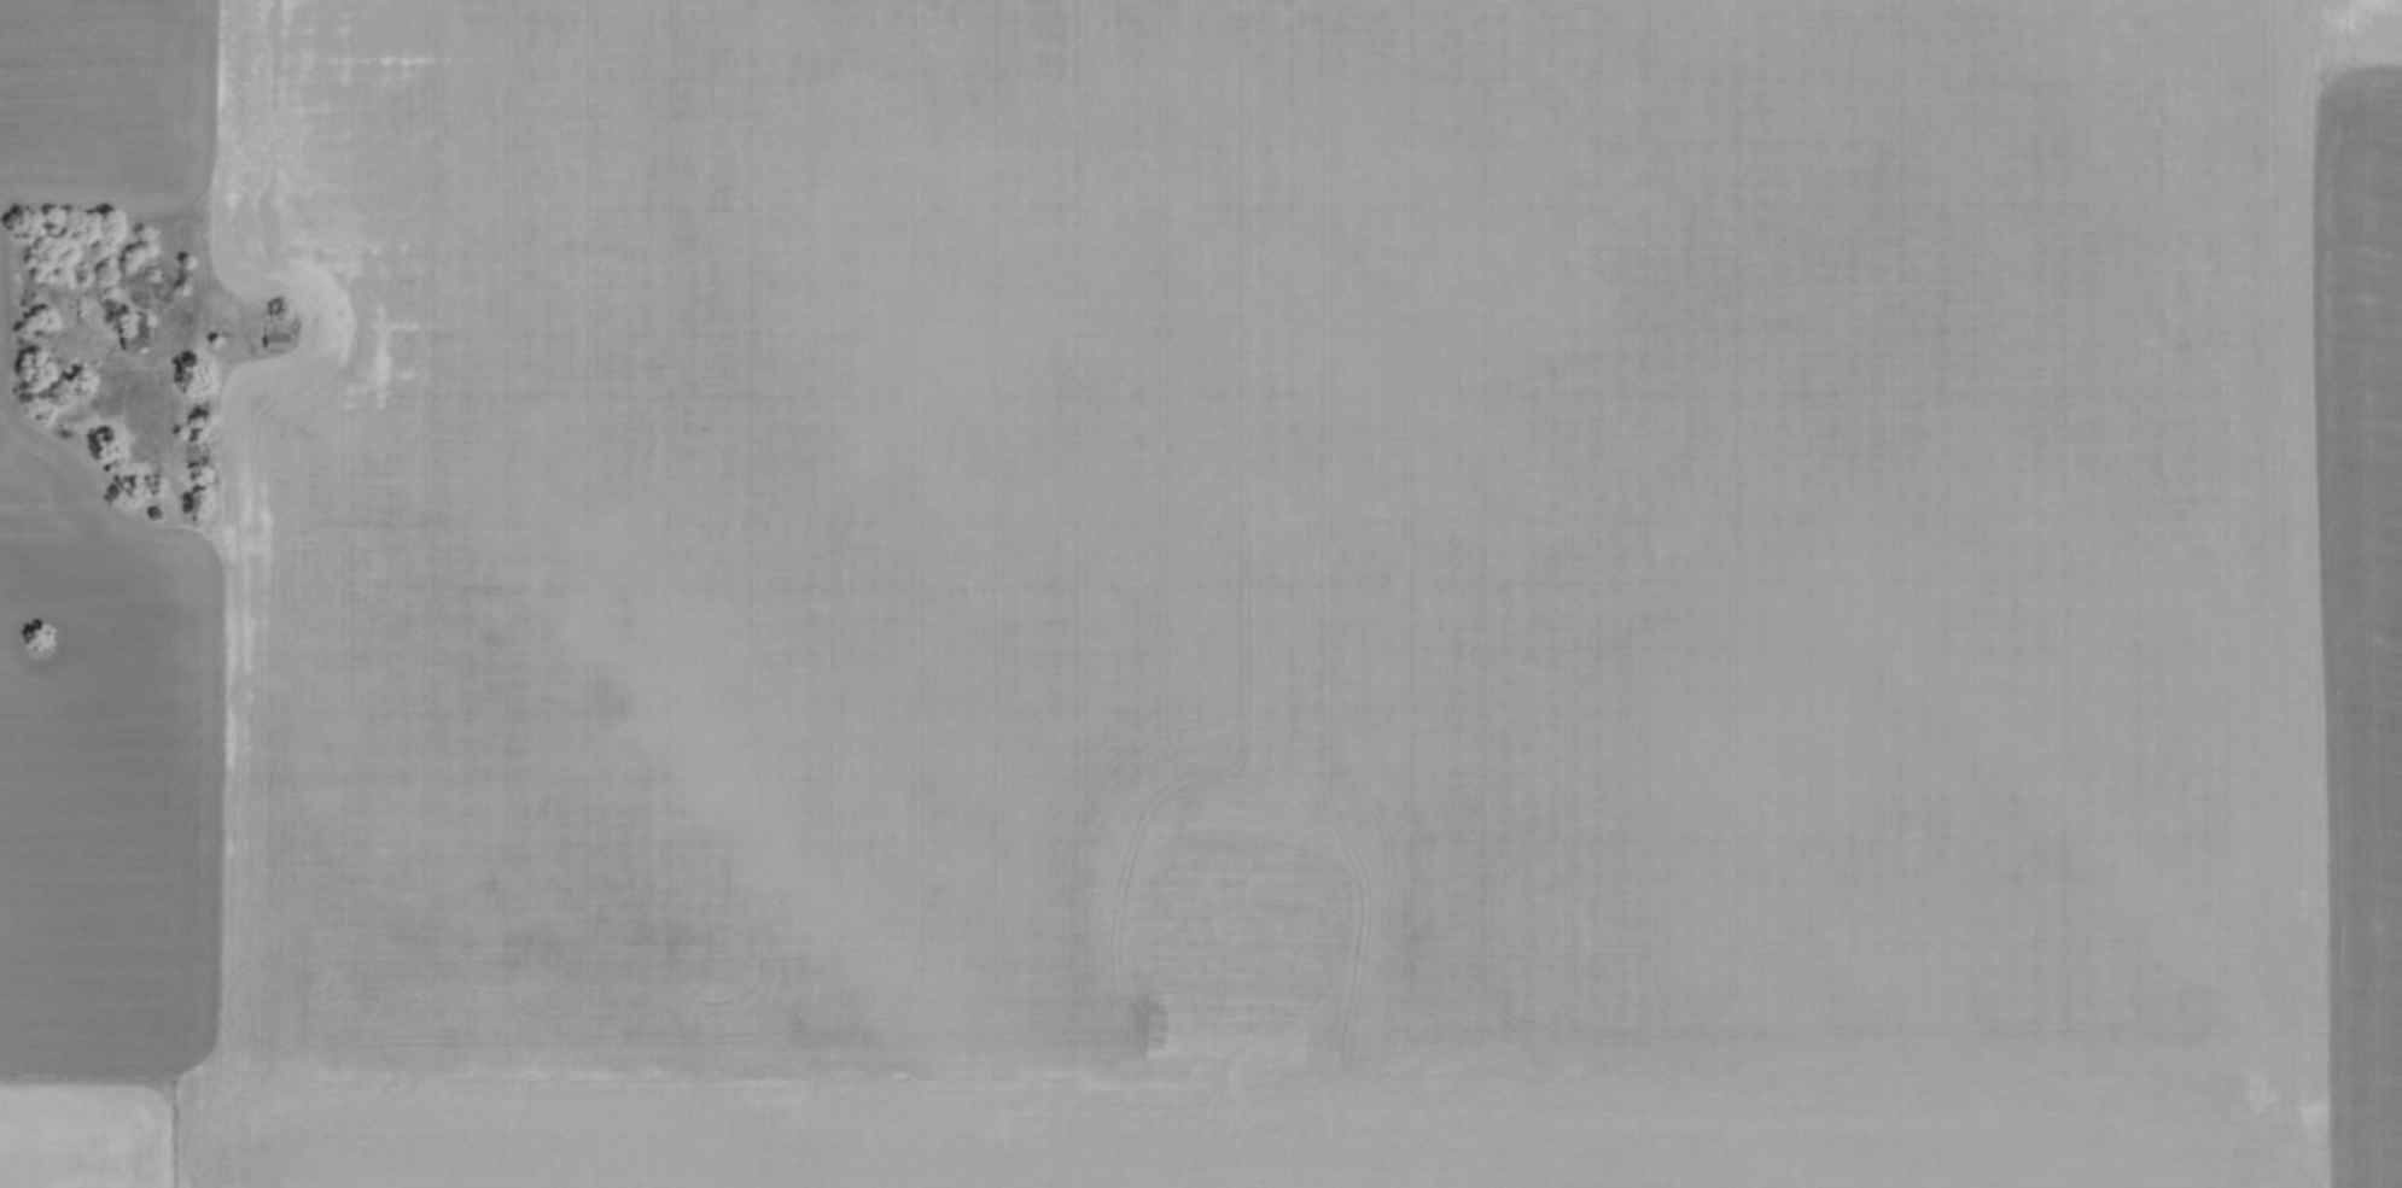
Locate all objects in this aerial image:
building: (273, 326)
building: (132, 330)
building: (112, 468)
crop: (1201, 593)
road: (2325, 593)

